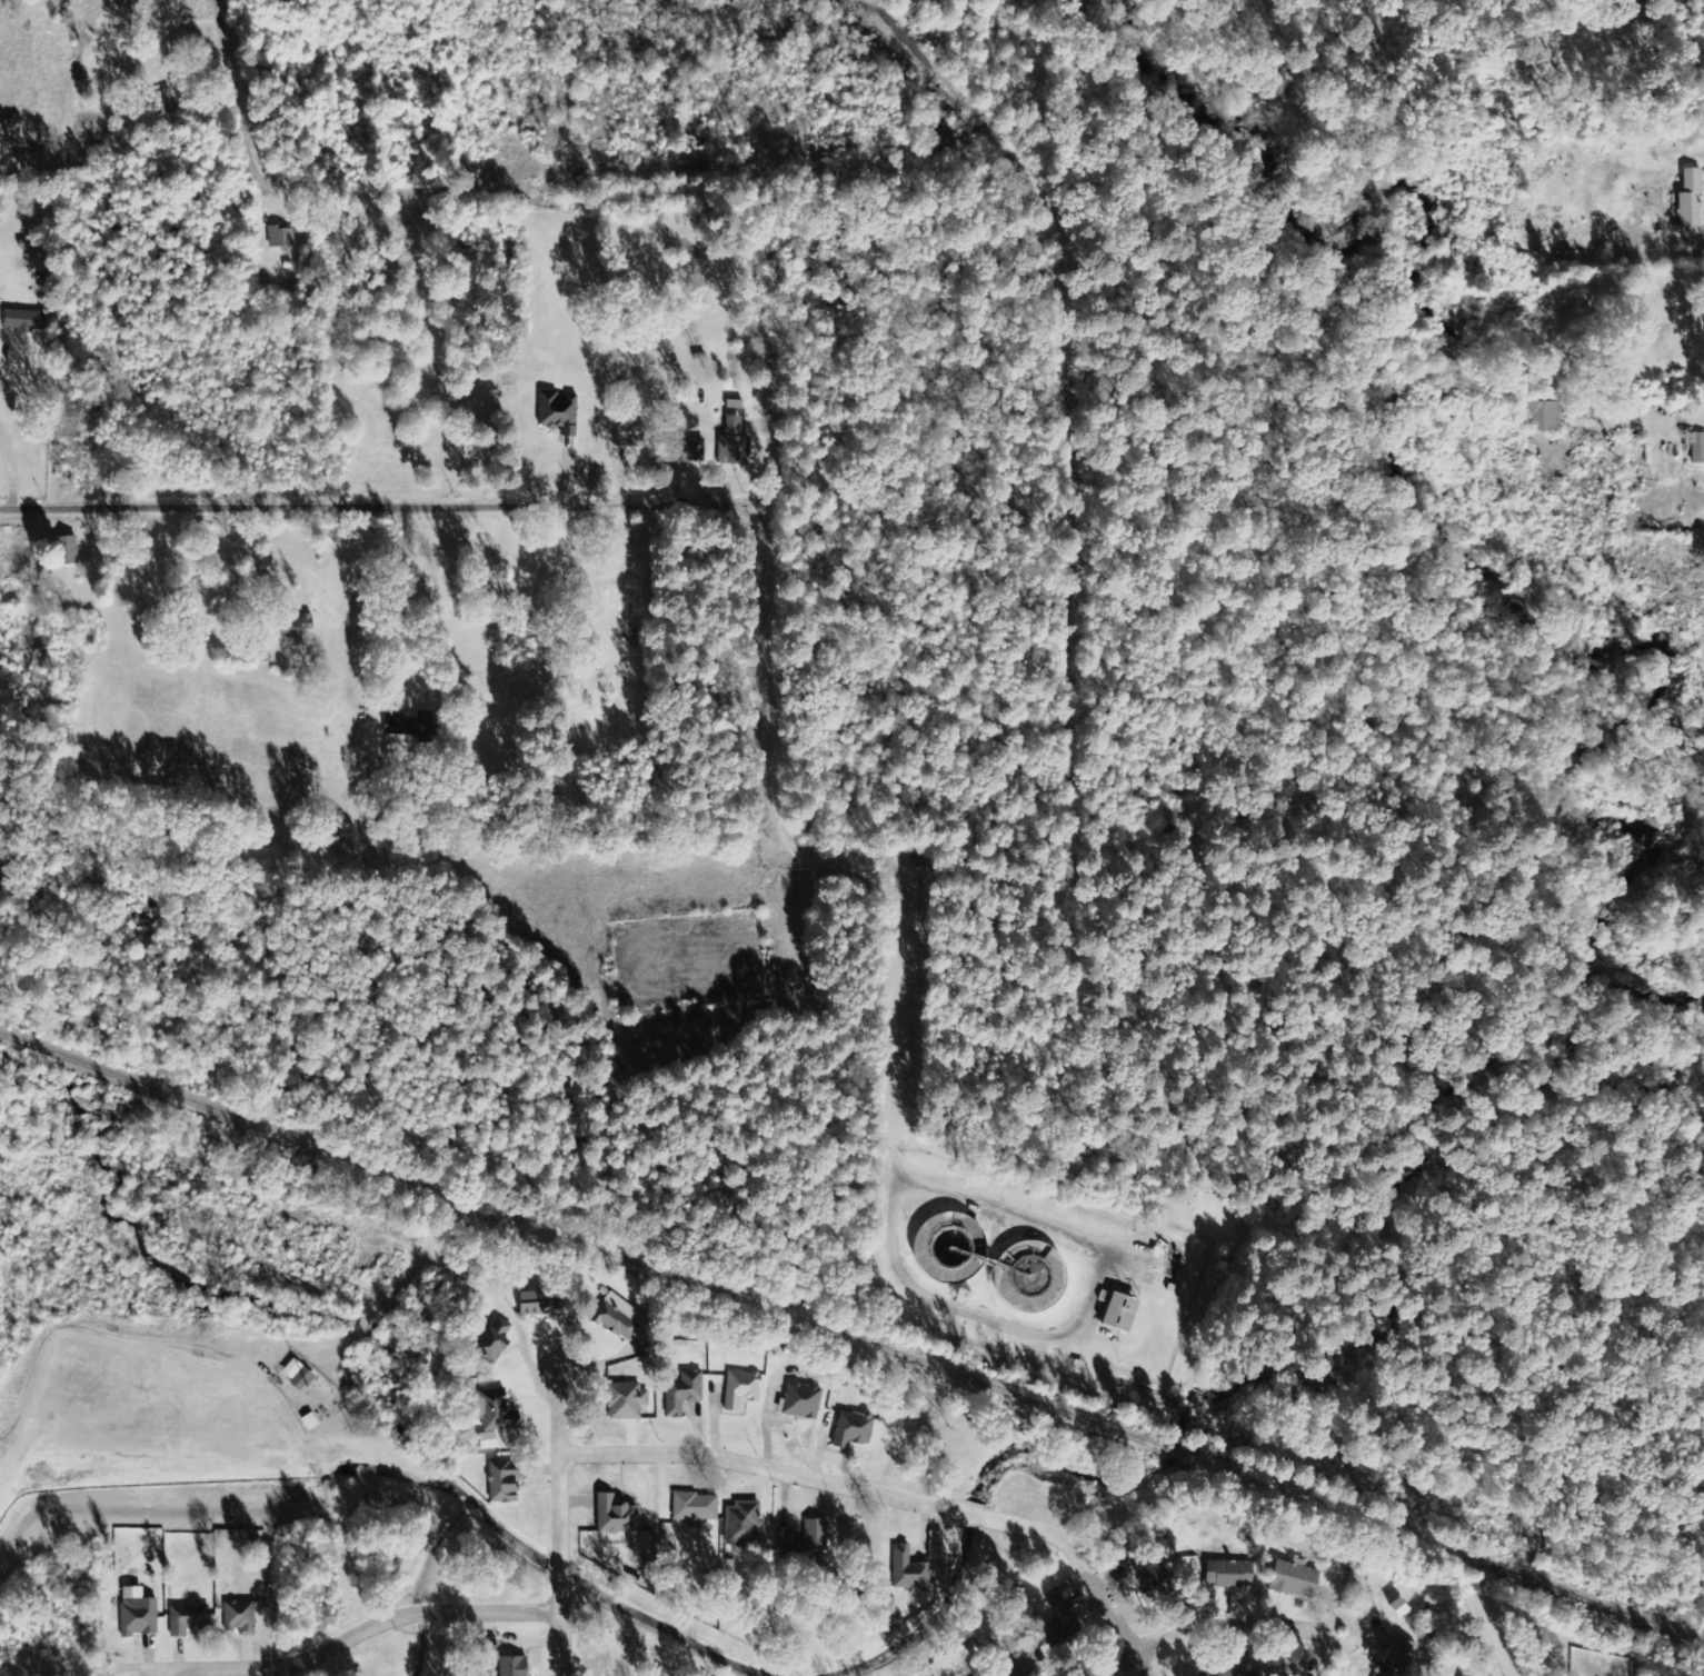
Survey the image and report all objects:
road: (246, 96)
building: (1687, 203)
building: (279, 238)
building: (22, 322)
building: (556, 415)
building: (1542, 418)
building: (625, 438)
building: (1697, 449)
building: (681, 452)
road: (388, 500)
building: (64, 551)
building: (293, 629)
building: (406, 728)
road: (894, 1105)
railway: (568, 1238)
building: (1153, 1254)
wastewater plant: (1033, 1278)
building: (1168, 1290)
building: (958, 1298)
building: (534, 1306)
building: (1114, 1313)
building: (610, 1324)
road: (103, 1337)
building: (489, 1344)
building: (295, 1378)
building: (738, 1391)
building: (679, 1395)
building: (799, 1403)
building: (622, 1404)
building: (492, 1414)
building: (849, 1431)
building: (485, 1443)
railway: (1176, 1457)
building: (501, 1483)
road: (890, 1496)
building: (691, 1510)
building: (612, 1517)
building: (737, 1527)
road: (559, 1532)
building: (804, 1552)
building: (931, 1554)
building: (860, 1559)
railway: (1459, 1559)
building: (905, 1570)
building: (1226, 1575)
building: (1292, 1580)
building: (1159, 1587)
building: (1055, 1599)
building: (1395, 1608)
building: (1075, 1613)
building: (237, 1617)
building: (134, 1618)
building: (185, 1619)
road: (1212, 1624)
building: (1087, 1644)
road: (339, 1645)
building: (1395, 1658)
building: (1026, 1660)
building: (509, 1667)
building: (1279, 1669)
building: (1226, 1672)
road: (167, 1673)
building: (659, 1674)
building: (1461, 1675)

